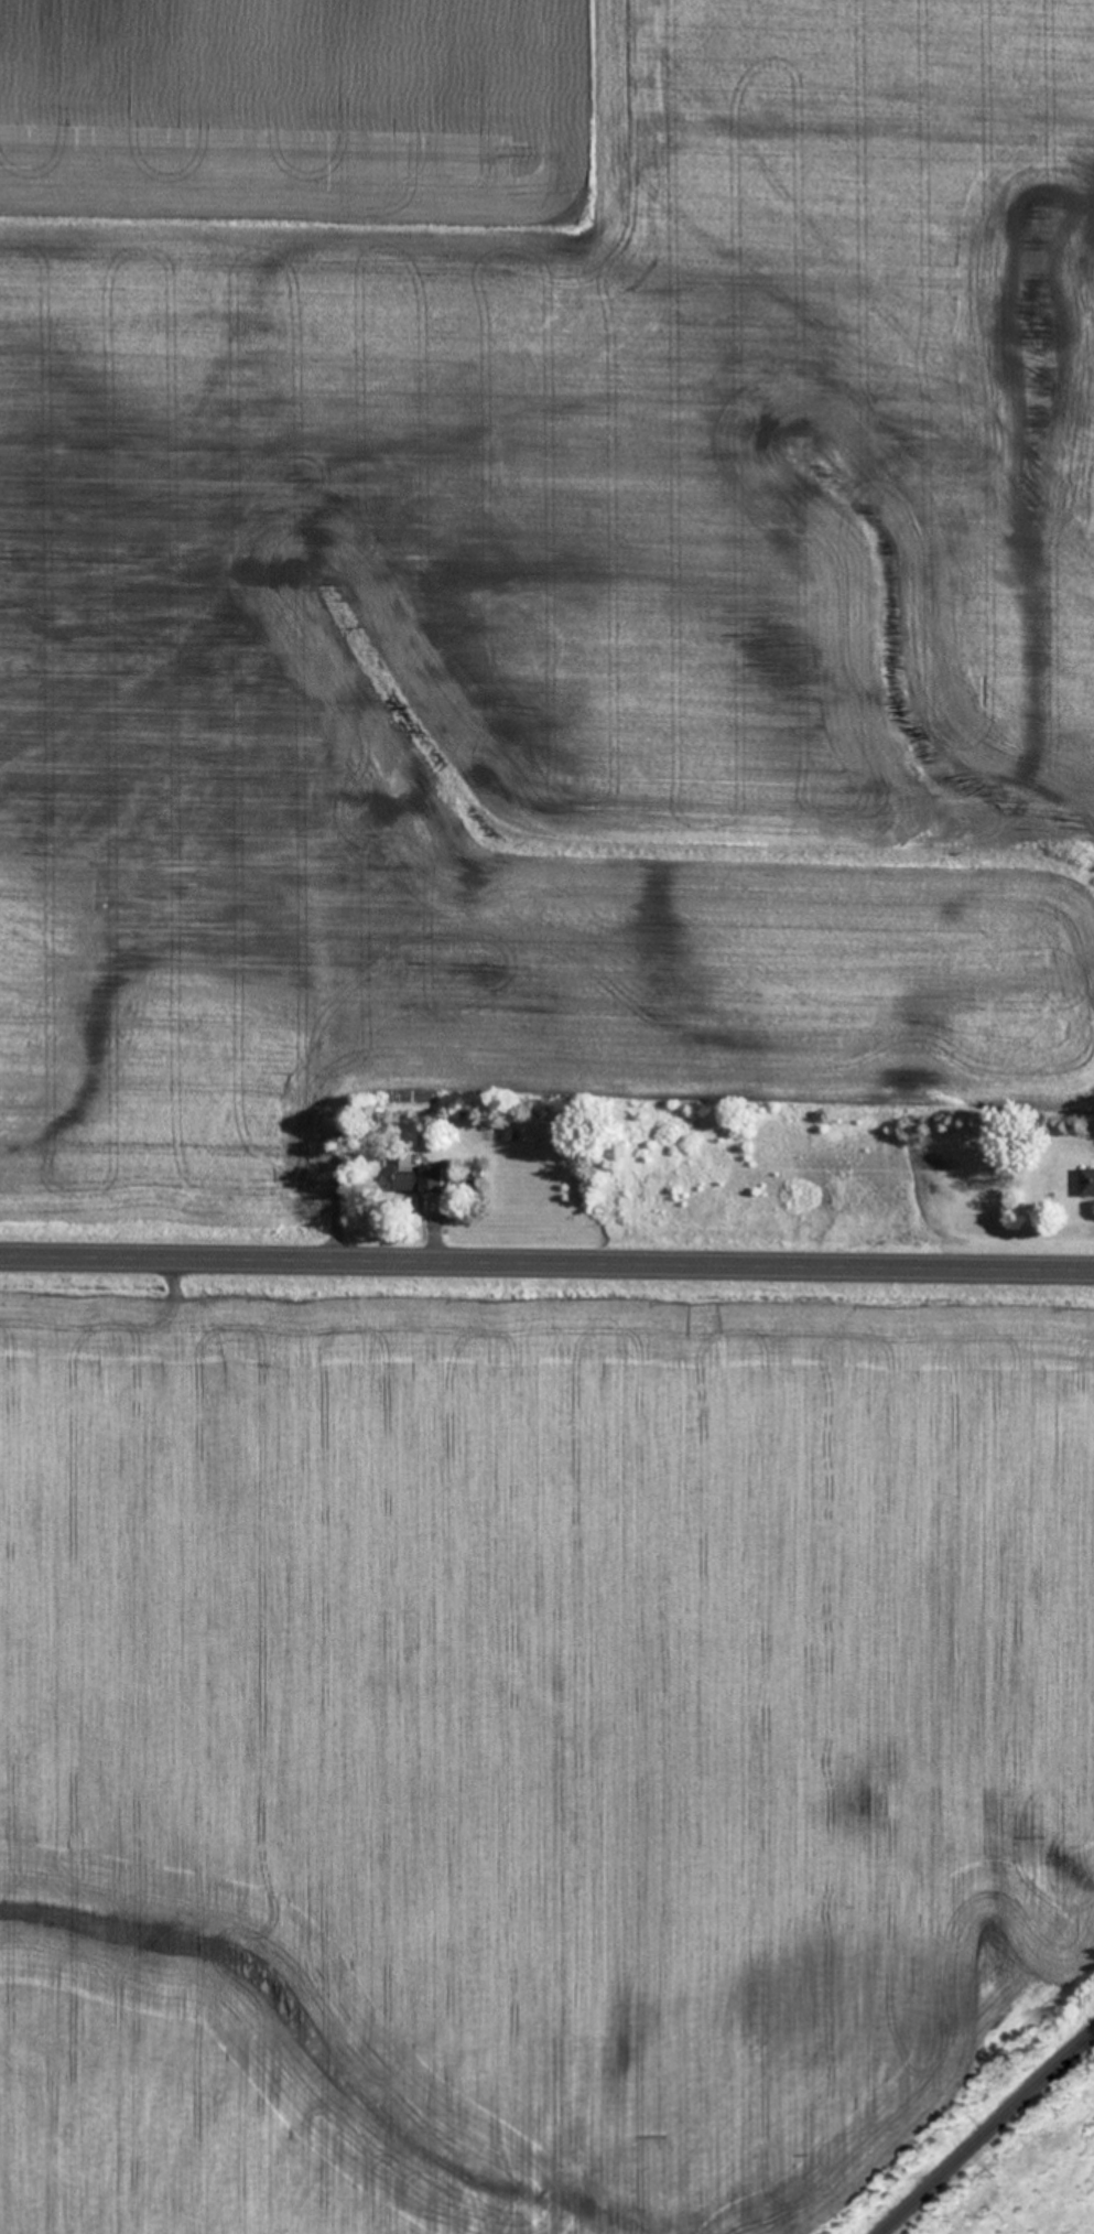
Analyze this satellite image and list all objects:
building: (416, 1179)
building: (1086, 1185)
road: (546, 1242)
railway: (986, 2132)

